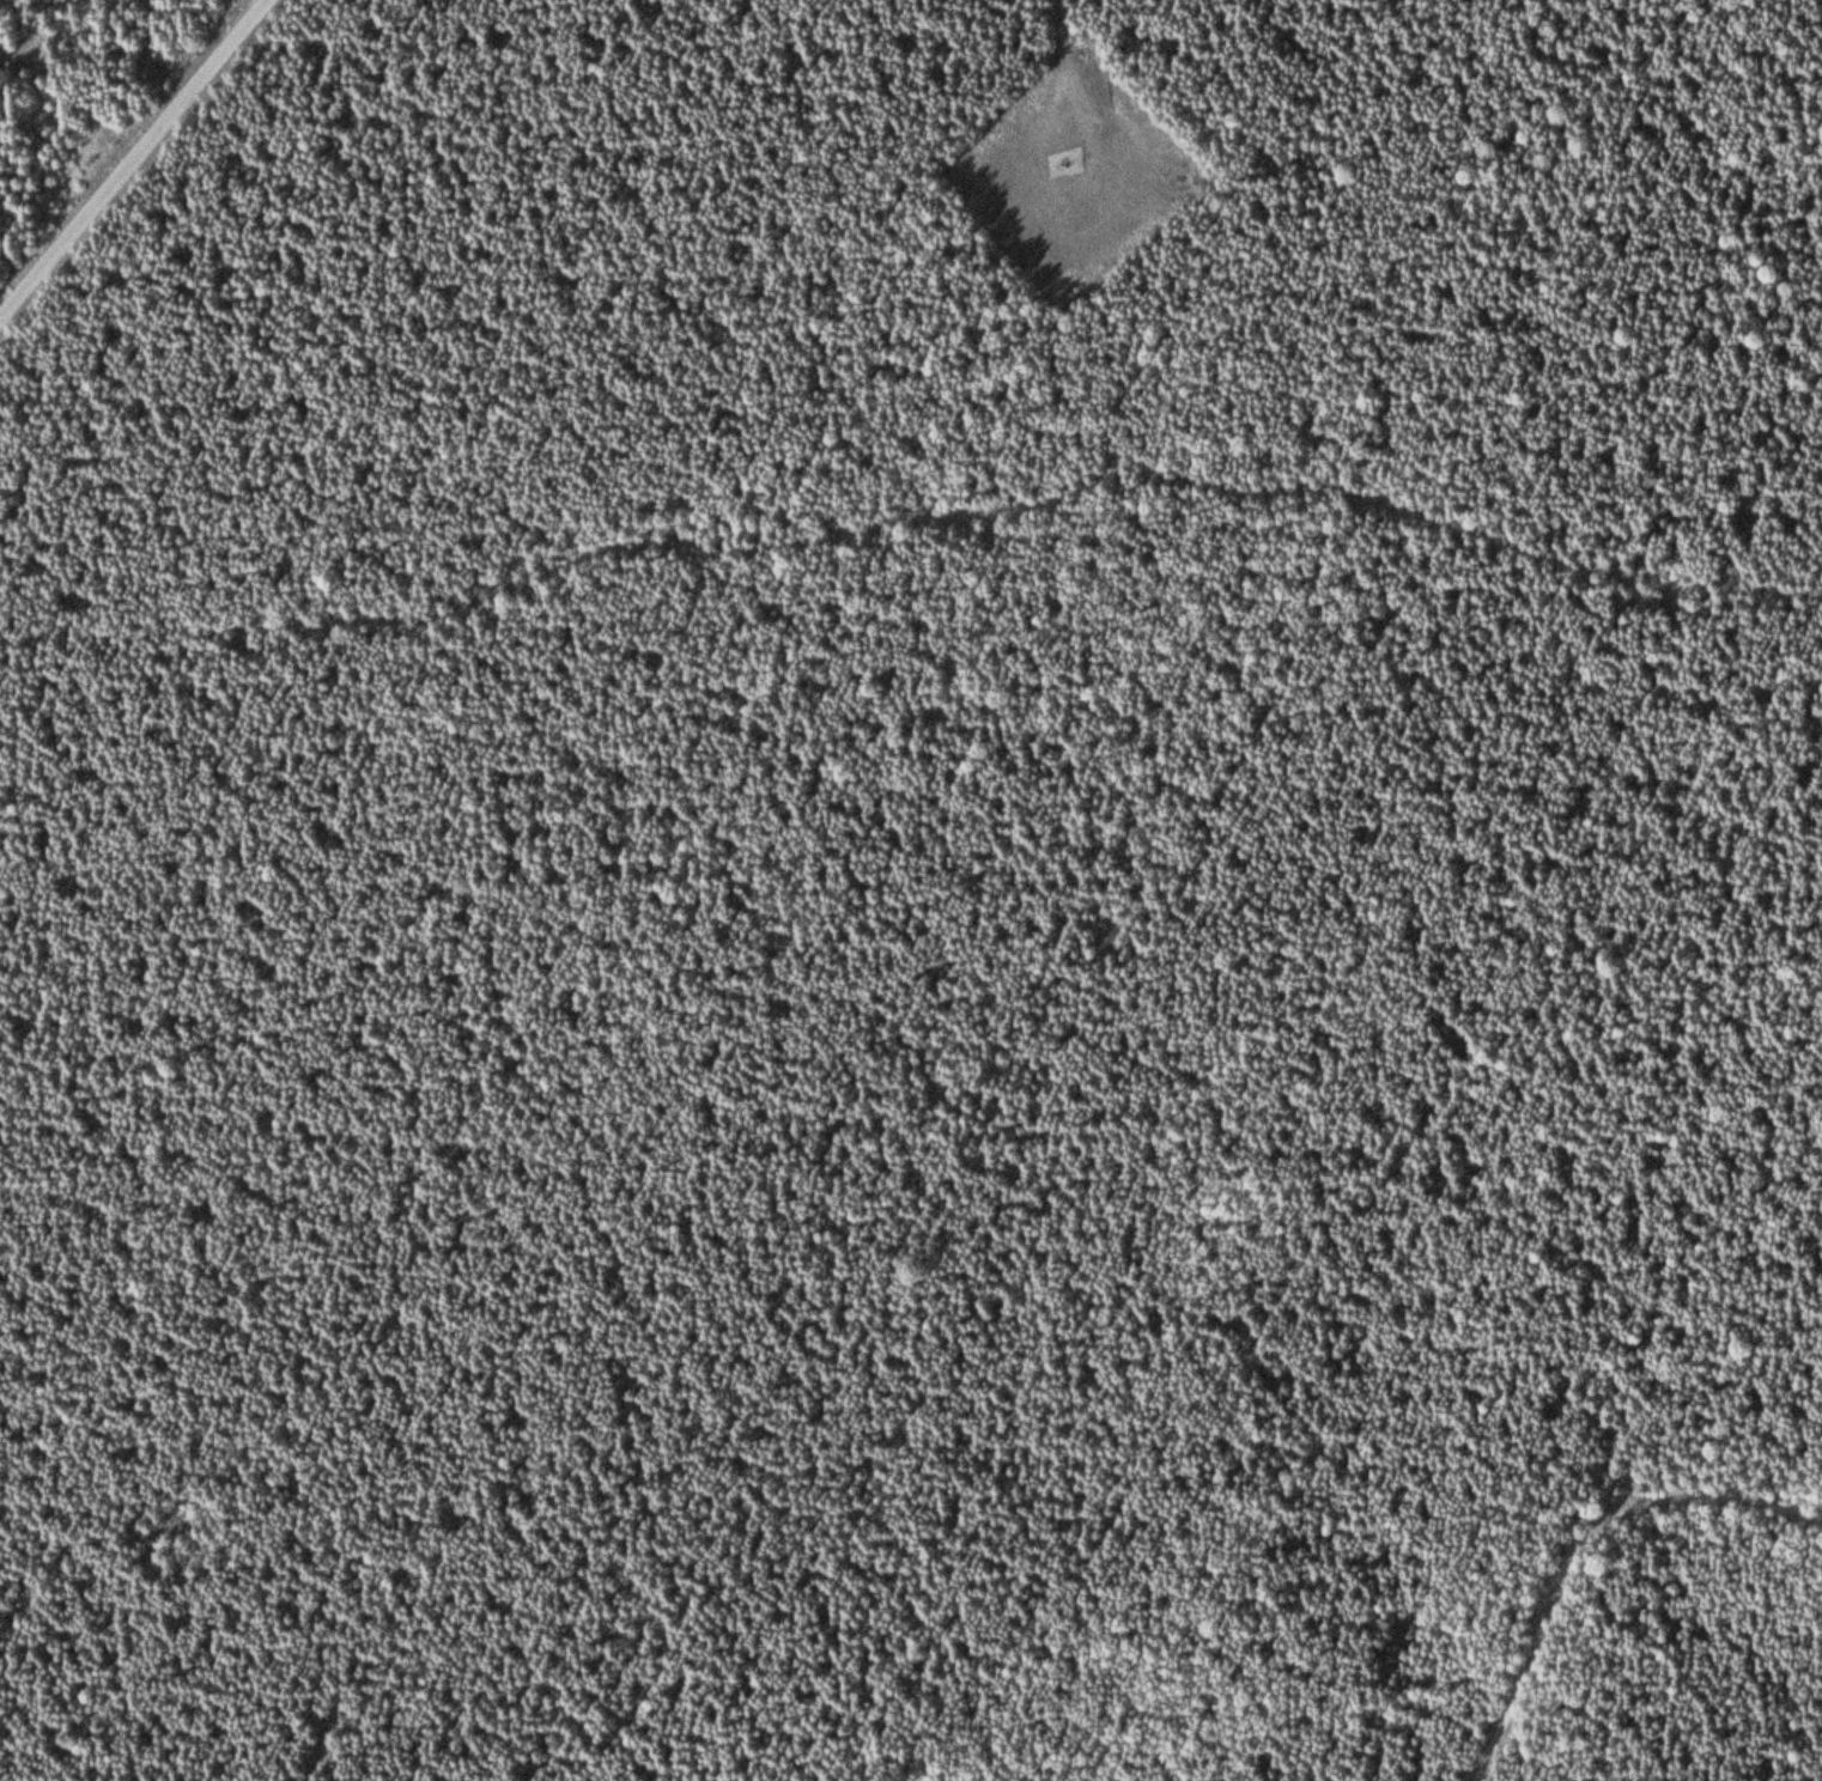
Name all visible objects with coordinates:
road: (1068, 50)
road: (136, 163)
petroleum well: (1074, 165)
road: (1692, 1496)
road: (1533, 1667)

